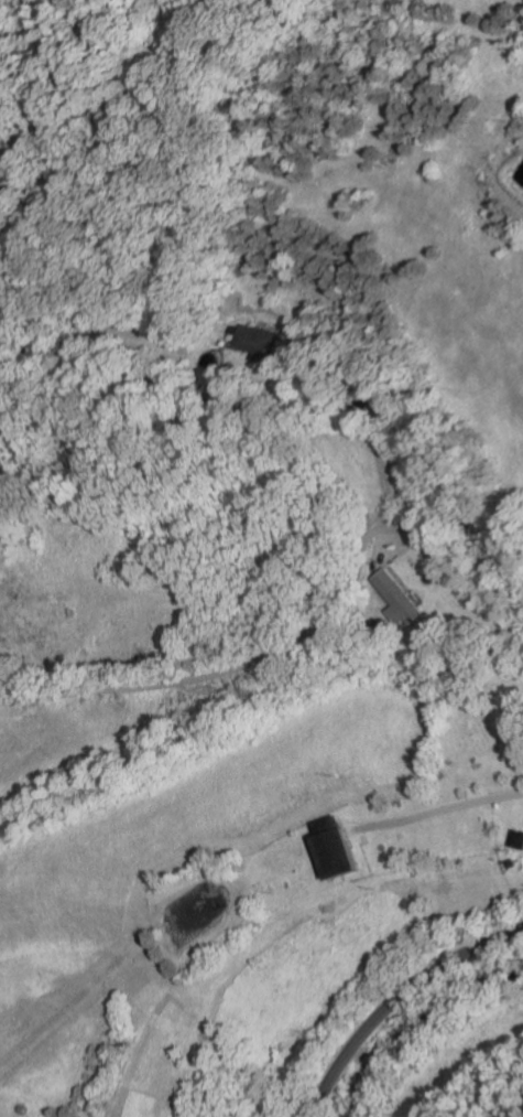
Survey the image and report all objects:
building: (176, 310)
building: (36, 316)
building: (248, 341)
building: (305, 344)
road: (275, 355)
road: (369, 402)
road: (361, 535)
road: (379, 538)
road: (392, 554)
road: (455, 584)
building: (396, 598)
road: (215, 674)
road: (442, 810)
building: (301, 834)
building: (521, 839)
building: (340, 849)
building: (516, 864)
road: (394, 997)

